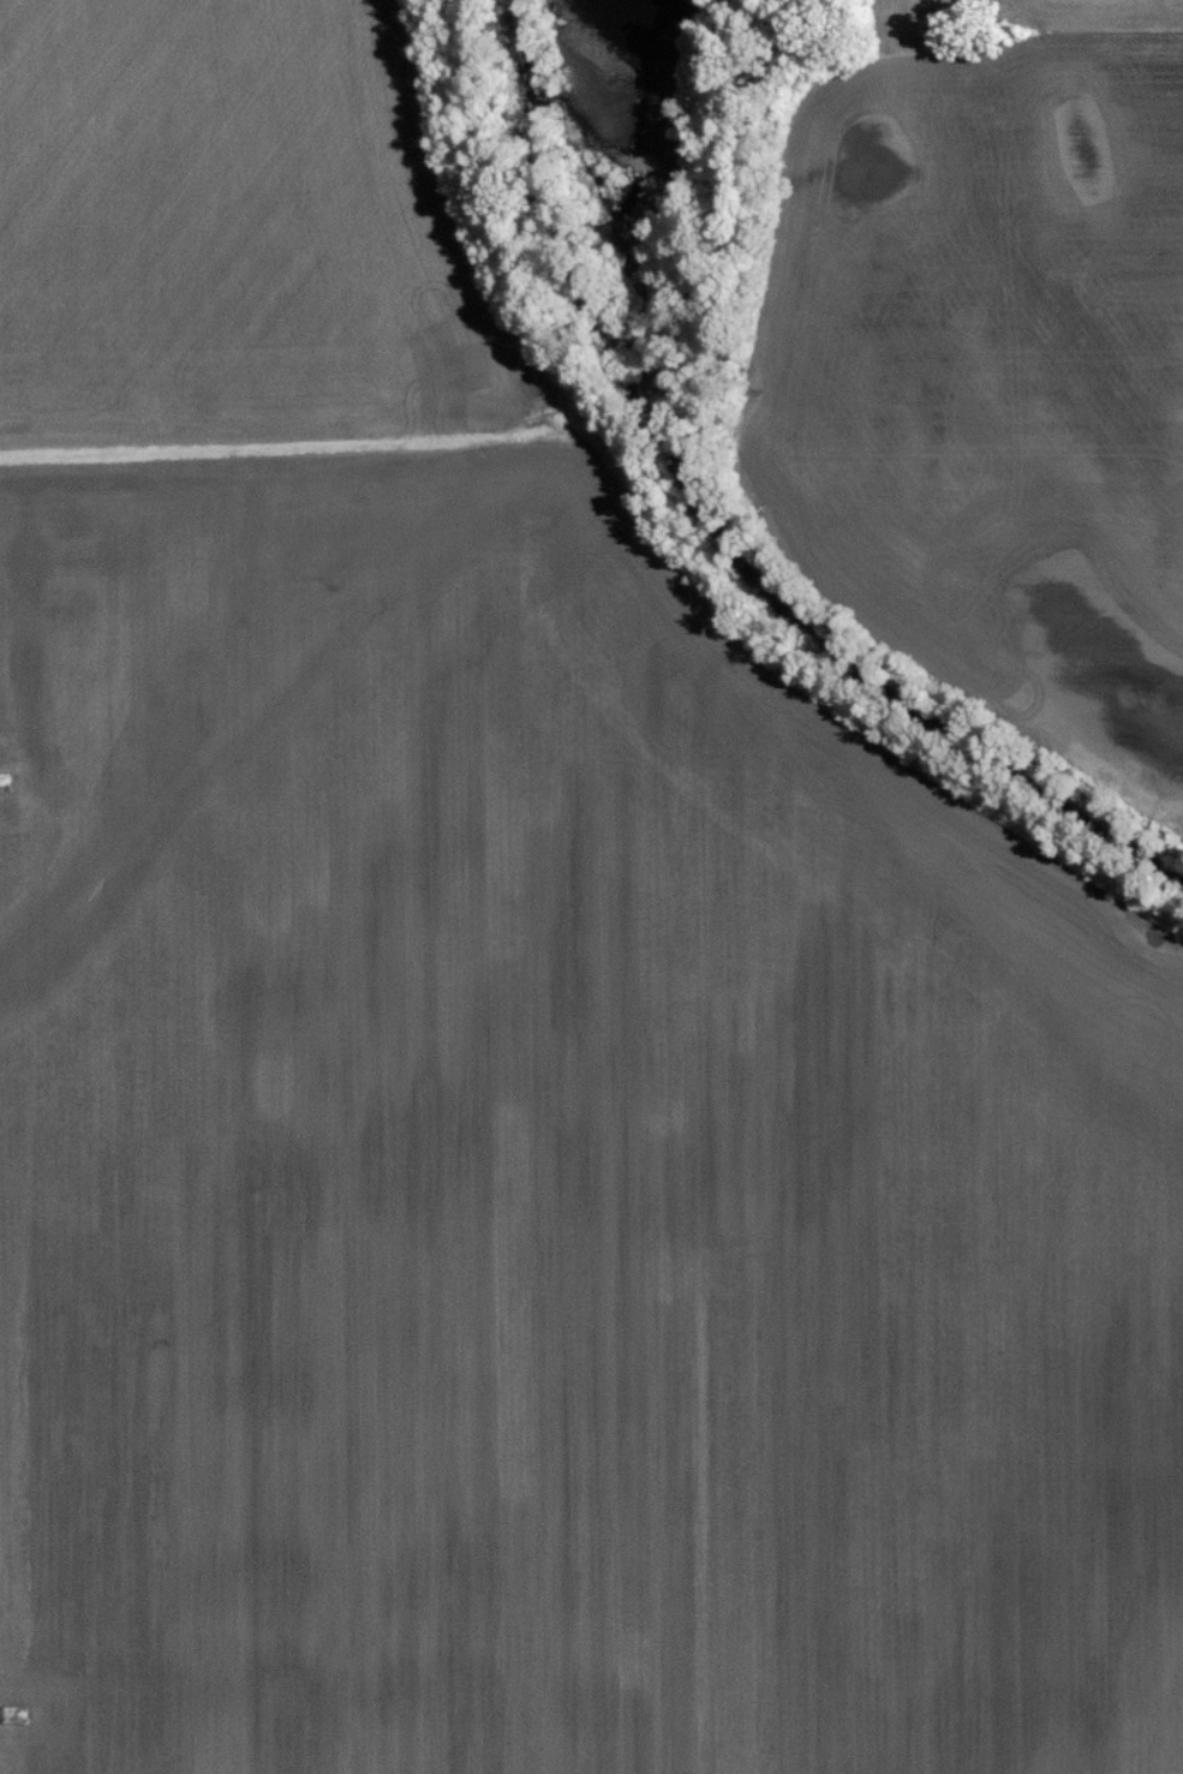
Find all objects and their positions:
power tower: (11, 1721)

